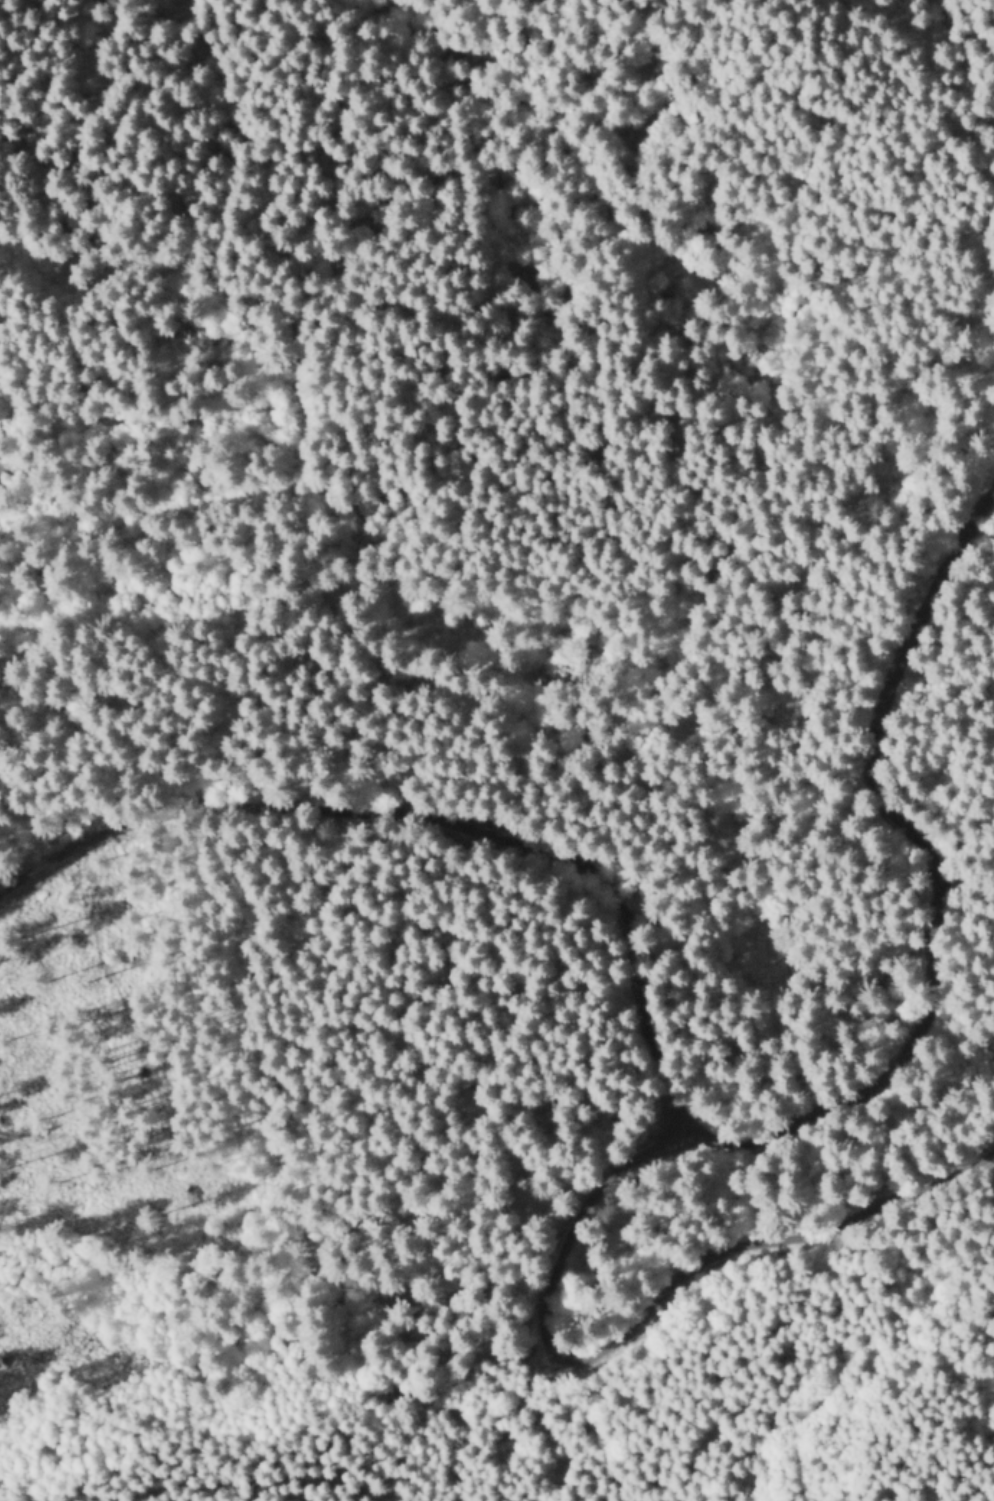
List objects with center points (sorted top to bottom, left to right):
road: (664, 1060)

